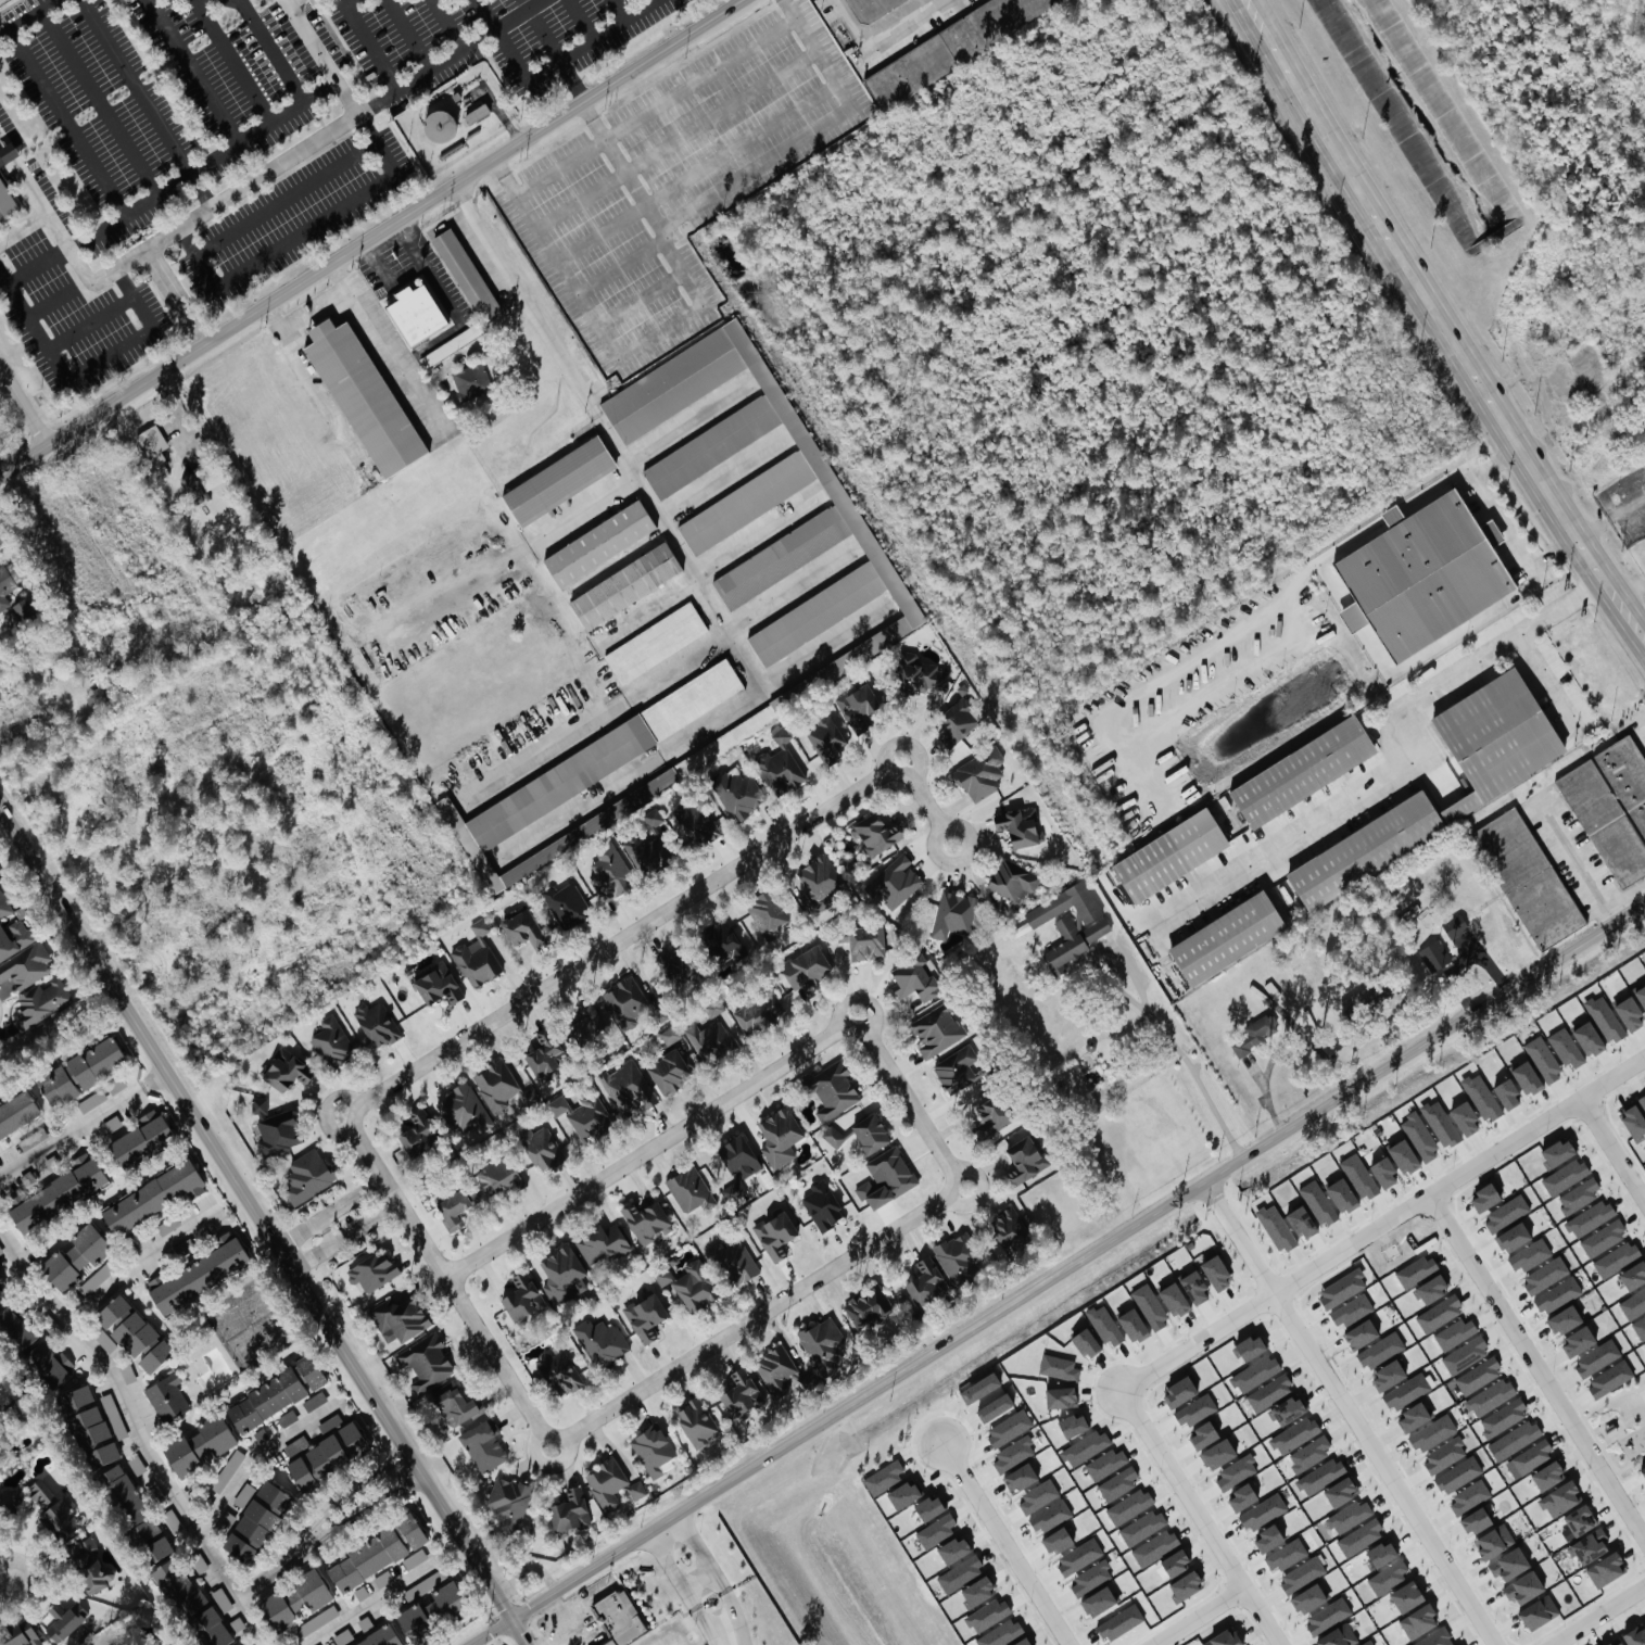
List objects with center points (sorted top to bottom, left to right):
road: (290, 1)
road: (346, 2)
road: (527, 3)
building: (871, 8)
road: (615, 10)
road: (27, 17)
road: (578, 18)
road: (447, 24)
parking lot: (895, 29)
road: (406, 35)
parking lot: (483, 38)
road: (498, 39)
road: (586, 39)
road: (882, 41)
road: (267, 47)
road: (369, 48)
building: (950, 48)
road: (556, 52)
road: (815, 53)
road: (320, 58)
road: (231, 61)
road: (190, 72)
road: (140, 77)
parking lot: (152, 99)
road: (97, 103)
road: (145, 103)
road: (656, 105)
road: (493, 110)
building: (476, 113)
road: (491, 117)
road: (64, 124)
building: (438, 126)
road: (675, 138)
road: (376, 144)
building: (7, 152)
road: (201, 165)
road: (754, 167)
road: (696, 172)
parking lot: (676, 179)
road: (244, 186)
road: (284, 199)
building: (7, 201)
parking lot: (295, 213)
road: (22, 226)
road: (403, 228)
road: (305, 231)
road: (369, 237)
road: (369, 249)
road: (197, 258)
road: (620, 264)
road: (35, 267)
building: (466, 275)
road: (394, 276)
road: (432, 277)
road: (1422, 291)
road: (640, 296)
road: (132, 298)
road: (172, 298)
road: (47, 303)
road: (316, 312)
building: (416, 312)
parking lot: (75, 317)
road: (88, 322)
road: (660, 330)
road: (33, 331)
building: (450, 345)
road: (109, 356)
road: (395, 362)
road: (0, 374)
building: (471, 380)
road: (320, 397)
building: (363, 397)
road: (22, 407)
road: (177, 412)
road: (687, 421)
road: (607, 435)
building: (153, 445)
road: (0, 472)
road: (722, 478)
building: (559, 479)
building: (192, 485)
road: (58, 502)
road: (143, 506)
road: (1609, 515)
road: (1506, 520)
road: (755, 532)
building: (599, 543)
road: (505, 559)
building: (1421, 574)
building: (627, 584)
building: (5, 590)
building: (838, 599)
road: (643, 610)
road: (1624, 613)
building: (655, 643)
building: (919, 672)
road: (1545, 674)
road: (655, 676)
building: (98, 695)
building: (856, 705)
building: (956, 721)
road: (1642, 725)
road: (692, 733)
building: (826, 737)
building: (780, 762)
road: (1395, 764)
building: (1301, 770)
building: (1501, 774)
building: (979, 775)
building: (738, 794)
road: (928, 802)
building: (1612, 805)
building: (698, 823)
building: (1020, 826)
building: (876, 833)
building: (647, 844)
building: (1168, 853)
road: (1580, 862)
building: (609, 871)
building: (1528, 877)
building: (1012, 878)
building: (895, 881)
building: (818, 883)
building: (565, 902)
building: (4, 904)
building: (767, 910)
building: (953, 912)
building: (1071, 923)
building: (1455, 925)
building: (523, 928)
road: (628, 935)
building: (1226, 936)
building: (14, 937)
building: (863, 940)
building: (723, 942)
building: (477, 956)
building: (1433, 956)
building: (673, 964)
building: (27, 965)
building: (806, 966)
building: (913, 978)
building: (436, 984)
building: (1641, 995)
building: (1365, 996)
building: (41, 1001)
building: (625, 1001)
road: (1154, 1001)
building: (760, 1011)
building: (1629, 1012)
building: (1380, 1017)
building: (1605, 1017)
building: (589, 1022)
building: (377, 1023)
building: (937, 1029)
building: (1256, 1032)
building: (670, 1034)
building: (710, 1035)
building: (1587, 1038)
building: (333, 1041)
building: (1567, 1047)
building: (543, 1056)
building: (1543, 1058)
building: (669, 1068)
building: (958, 1068)
building: (286, 1070)
building: (79, 1071)
building: (1526, 1077)
building: (116, 1085)
building: (496, 1085)
building: (628, 1086)
building: (833, 1089)
building: (530, 1093)
building: (1506, 1093)
building: (1481, 1096)
building: (97, 1098)
building: (1643, 1099)
road: (912, 1100)
building: (260, 1105)
road: (327, 1109)
building: (464, 1109)
building: (17, 1111)
building: (583, 1112)
building: (992, 1114)
building: (1465, 1117)
building: (1633, 1119)
building: (114, 1122)
building: (1440, 1122)
road: (81, 1123)
building: (870, 1131)
building: (278, 1132)
building: (417, 1134)
building: (832, 1135)
building: (1419, 1135)
building: (779, 1136)
building: (140, 1137)
road: (654, 1144)
building: (543, 1148)
road: (1612, 1149)
building: (1557, 1151)
building: (1403, 1155)
building: (1024, 1159)
building: (737, 1163)
building: (1383, 1172)
building: (307, 1175)
building: (499, 1175)
building: (1359, 1175)
building: (886, 1176)
building: (1565, 1176)
building: (689, 1188)
building: (58, 1193)
building: (1580, 1193)
building: (1341, 1194)
building: (152, 1195)
building: (1484, 1197)
building: (1318, 1202)
building: (456, 1205)
building: (821, 1205)
building: (1506, 1213)
building: (1590, 1217)
building: (645, 1219)
road: (1387, 1220)
building: (1301, 1222)
road: (341, 1223)
building: (169, 1225)
road: (265, 1227)
building: (1276, 1227)
building: (1009, 1228)
building: (774, 1233)
building: (1514, 1236)
building: (1603, 1238)
building: (602, 1242)
road: (1236, 1242)
building: (1529, 1254)
building: (74, 1256)
building: (957, 1256)
building: (1617, 1257)
road: (138, 1258)
building: (734, 1262)
building: (1415, 1269)
building: (372, 1270)
building: (561, 1273)
building: (1215, 1273)
building: (199, 1274)
building: (1545, 1274)
building: (1633, 1275)
building: (97, 1278)
road: (1056, 1278)
building: (924, 1279)
building: (689, 1285)
building: (1193, 1287)
building: (1341, 1288)
building: (1431, 1288)
building: (1557, 1294)
building: (521, 1296)
building: (1173, 1298)
building: (1633, 1303)
building: (868, 1305)
building: (1150, 1305)
building: (1351, 1309)
building: (1439, 1313)
building: (645, 1316)
building: (398, 1318)
building: (1564, 1318)
building: (1105, 1325)
building: (1132, 1325)
building: (1640, 1326)
building: (132, 1332)
building: (1456, 1332)
building: (1361, 1333)
building: (820, 1337)
building: (103, 1338)
building: (1578, 1340)
building: (602, 1341)
building: (1085, 1341)
building: (1644, 1343)
building: (1250, 1346)
building: (34, 1349)
building: (1380, 1350)
building: (1465, 1354)
building: (1596, 1357)
building: (427, 1361)
building: (1059, 1367)
road: (1534, 1368)
building: (776, 1369)
building: (128, 1371)
building: (559, 1371)
building: (1255, 1372)
building: (1388, 1374)
building: (1478, 1375)
building: (1609, 1379)
building: (979, 1388)
building: (1179, 1390)
building: (1406, 1391)
building: (276, 1392)
building: (1269, 1392)
building: (741, 1393)
building: (166, 1395)
building: (1491, 1396)
building: (1061, 1397)
building: (315, 1401)
building: (458, 1406)
building: (995, 1407)
building: (1195, 1409)
building: (1287, 1409)
building: (114, 1415)
building: (288, 1417)
building: (1413, 1417)
building: (1503, 1417)
road: (595, 1419)
building: (696, 1421)
building: (330, 1422)
building: (1073, 1425)
building: (89, 1427)
building: (1009, 1427)
building: (1432, 1432)
building: (1294, 1433)
road: (138, 1434)
building: (261, 1434)
building: (1203, 1434)
building: (1514, 1439)
building: (198, 1444)
building: (296, 1444)
building: (483, 1444)
building: (1085, 1446)
building: (653, 1450)
road: (257, 1452)
building: (1217, 1453)
building: (1309, 1453)
building: (1012, 1454)
building: (1444, 1454)
building: (325, 1455)
building: (1530, 1457)
building: (1106, 1463)
building: (137, 1464)
building: (227, 1470)
road: (1382, 1470)
building: (1236, 1471)
building: (1458, 1473)
building: (1320, 1475)
building: (1547, 1475)
building: (1020, 1477)
building: (1118, 1482)
building: (611, 1483)
building: (119, 1490)
building: (1340, 1491)
building: (244, 1494)
building: (1040, 1494)
building: (509, 1496)
building: (1469, 1496)
building: (1560, 1498)
building: (51, 1508)
building: (570, 1510)
building: (1263, 1511)
building: (1351, 1515)
road: (1200, 1519)
building: (173, 1520)
building: (1475, 1520)
building: (255, 1521)
building: (1578, 1521)
road: (319, 1524)
building: (1141, 1527)
building: (1361, 1536)
building: (1267, 1538)
building: (149, 1539)
building: (1493, 1541)
building: (1589, 1545)
building: (1154, 1546)
road: (20, 1547)
road: (1007, 1551)
building: (375, 1553)
road: (700, 1553)
building: (1381, 1553)
building: (1286, 1554)
building: (415, 1557)
building: (1174, 1561)
building: (89, 1562)
building: (200, 1564)
building: (1509, 1564)
road: (673, 1569)
building: (1605, 1569)
building: (1302, 1573)
building: (1389, 1576)
building: (383, 1578)
road: (4, 1582)
building: (176, 1587)
building: (1522, 1587)
building: (360, 1592)
road: (725, 1595)
building: (1406, 1596)
building: (1307, 1597)
building: (223, 1598)
road: (372, 1599)
building: (294, 1600)
building: (430, 1605)
road: (699, 1609)
building: (1539, 1611)
road: (556, 1615)
building: (1328, 1615)
road: (1597, 1615)
building: (619, 1617)
road: (1198, 1617)
building: (62, 1620)
building: (1418, 1620)
building: (315, 1621)
road: (734, 1621)
building: (238, 1622)
building: (365, 1622)
building: (210, 1628)
road: (710, 1629)
building: (1338, 1635)
building: (1635, 1635)
building: (343, 1636)
building: (381, 1638)
road: (556, 1638)
building: (1223, 1638)
building: (1434, 1638)
building: (1368, 1643)
building: (1620, 1643)
building: (1607, 1644)

